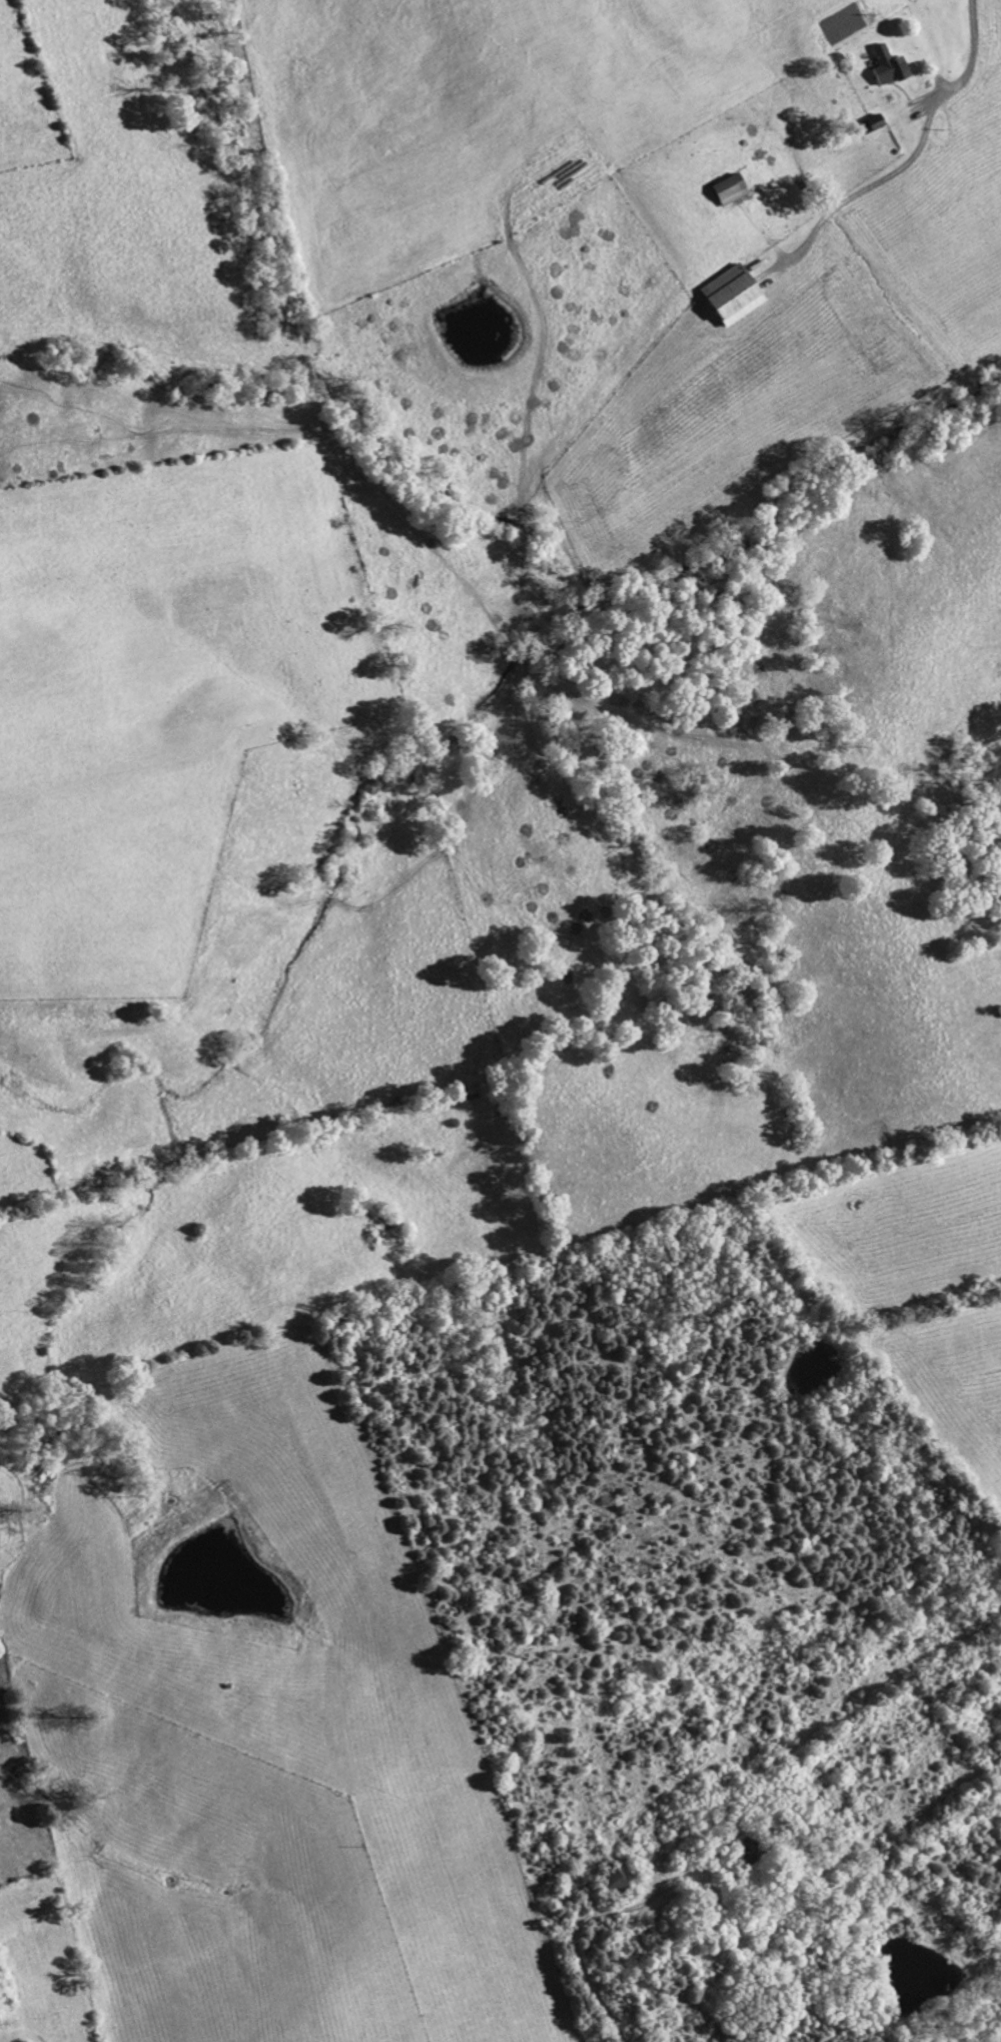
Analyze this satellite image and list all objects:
building: (887, 67)
building: (870, 125)
building: (727, 190)
building: (728, 296)
building: (744, 1851)

